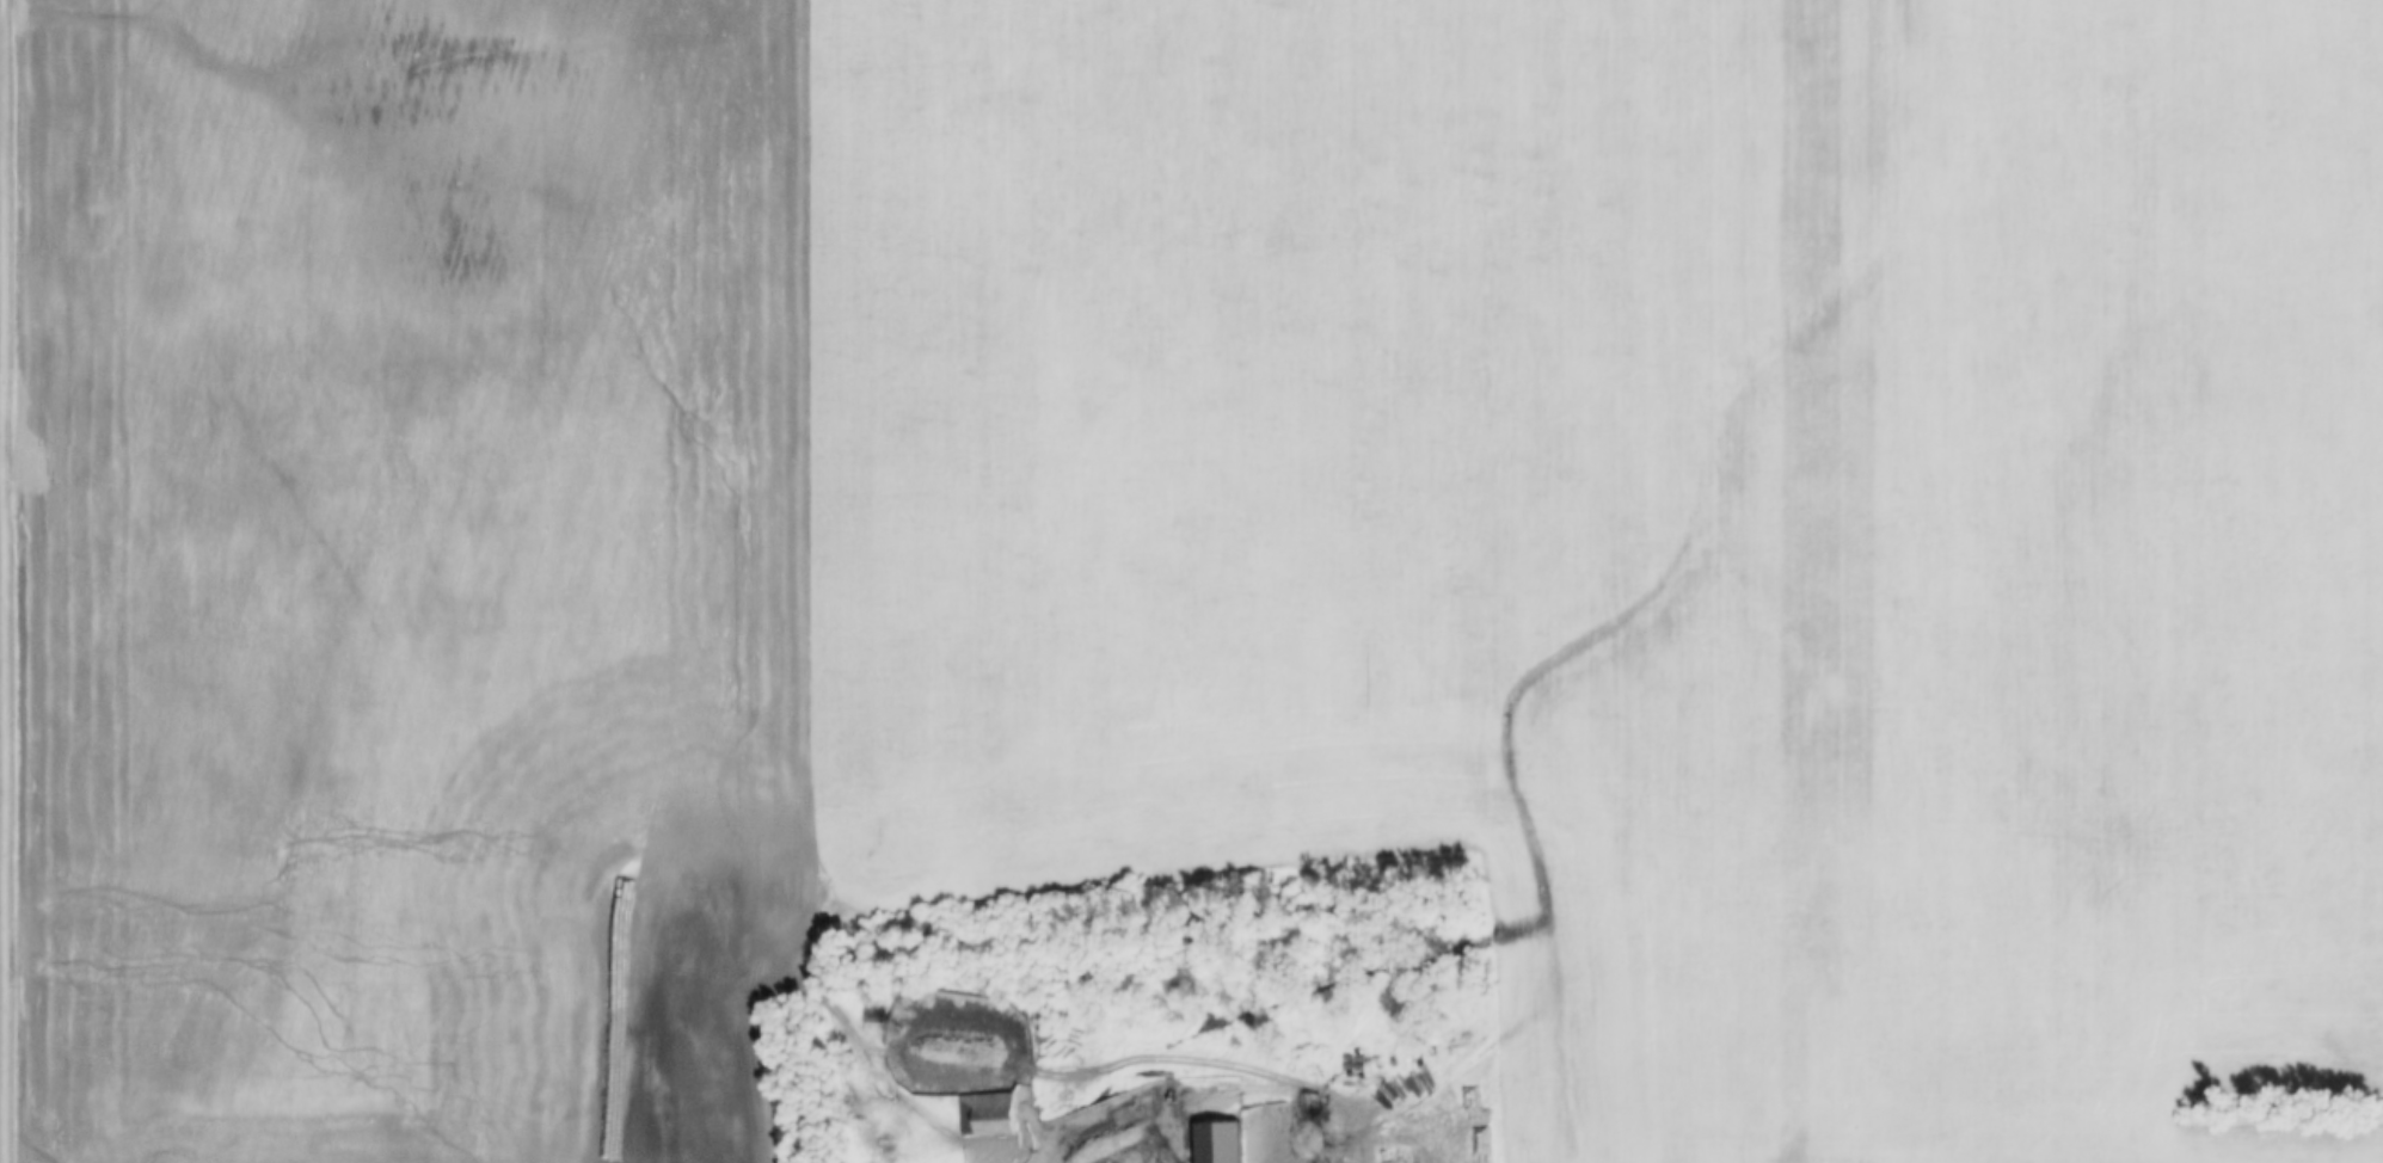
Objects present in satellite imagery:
building: (988, 1112)
building: (1220, 1140)

